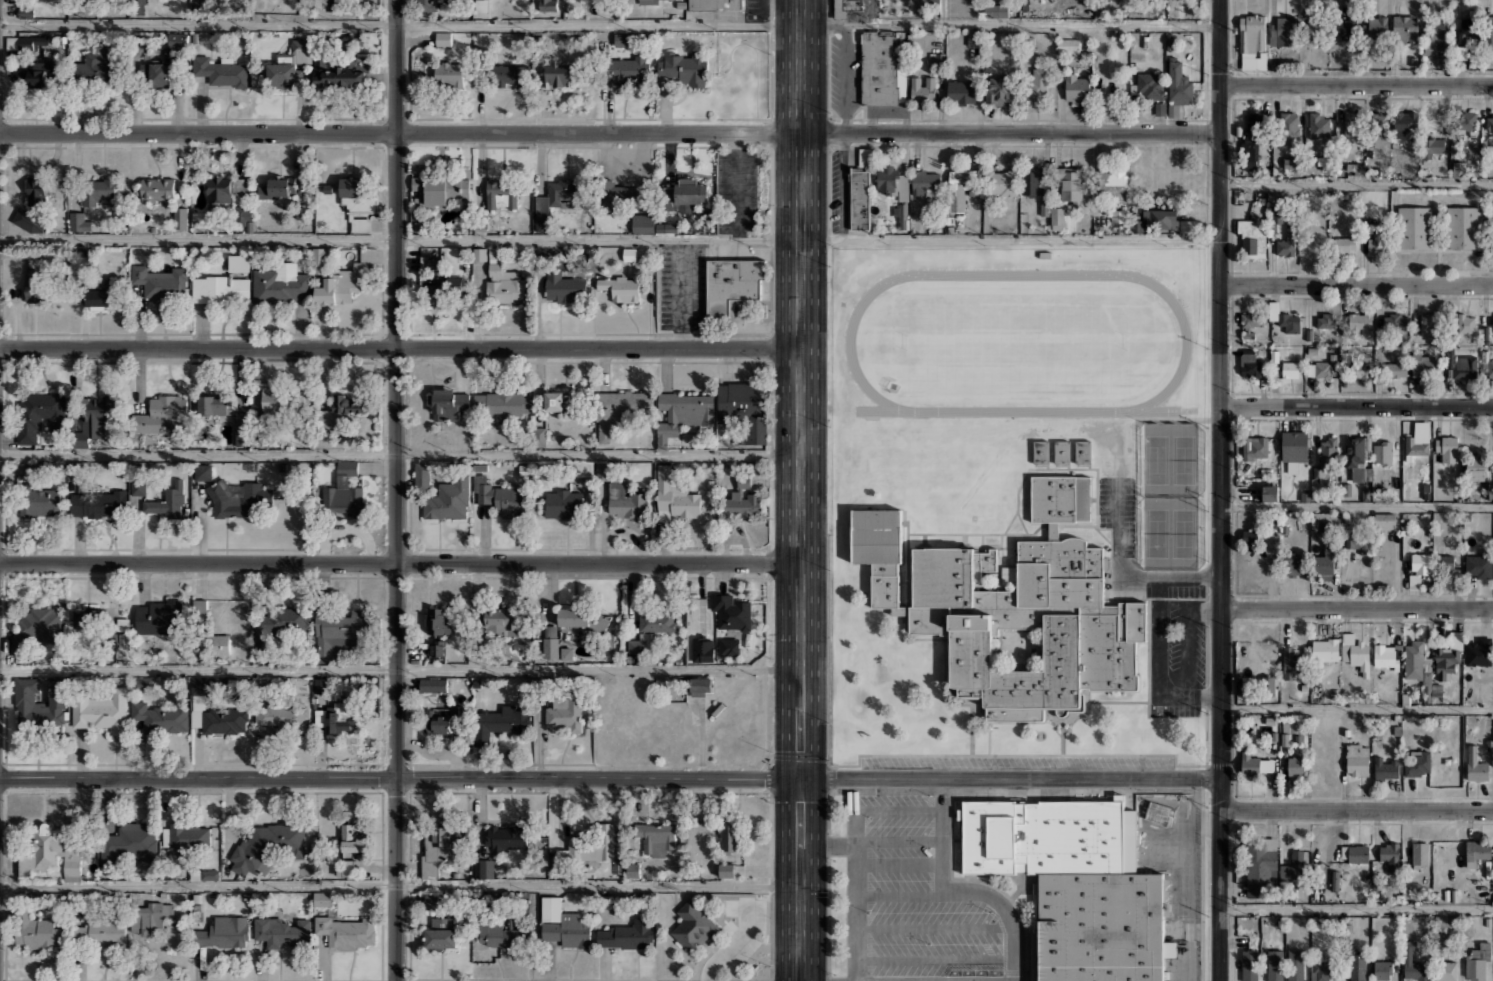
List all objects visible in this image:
building: (425, 4)
building: (481, 5)
building: (548, 5)
building: (716, 5)
building: (929, 6)
building: (844, 7)
building: (995, 10)
road: (1010, 25)
building: (1470, 26)
road: (400, 27)
building: (1314, 27)
building: (1346, 27)
building: (1375, 27)
building: (1405, 29)
building: (1283, 31)
building: (1488, 32)
building: (174, 38)
building: (442, 38)
building: (1438, 38)
building: (621, 39)
building: (24, 42)
building: (1252, 42)
building: (1068, 45)
building: (1461, 52)
building: (1443, 60)
building: (288, 64)
building: (95, 66)
building: (626, 67)
building: (684, 67)
building: (880, 67)
building: (343, 70)
building: (219, 71)
building: (32, 72)
building: (162, 72)
building: (448, 73)
building: (556, 73)
building: (508, 74)
road: (1356, 82)
building: (1039, 84)
building: (1179, 85)
building: (1150, 86)
building: (922, 88)
building: (1077, 89)
building: (961, 92)
building: (1000, 93)
building: (1465, 121)
building: (1352, 123)
building: (1404, 123)
building: (1489, 123)
building: (1290, 124)
building: (1318, 125)
building: (1379, 125)
road: (610, 131)
building: (1253, 141)
building: (1430, 147)
building: (865, 157)
building: (1290, 162)
building: (1323, 162)
building: (1355, 169)
building: (1459, 169)
building: (889, 181)
building: (925, 181)
building: (1032, 181)
road: (1357, 181)
building: (1001, 183)
building: (1070, 184)
building: (1112, 184)
building: (225, 187)
building: (278, 187)
building: (962, 188)
building: (156, 189)
building: (442, 189)
building: (36, 191)
building: (99, 192)
building: (501, 193)
building: (559, 195)
building: (626, 195)
building: (684, 195)
building: (356, 196)
building: (859, 198)
building: (1276, 214)
building: (241, 215)
building: (1119, 216)
building: (180, 217)
building: (1057, 219)
building: (27, 220)
building: (79, 220)
building: (1162, 221)
building: (361, 223)
building: (643, 223)
building: (1415, 227)
building: (1463, 227)
building: (671, 228)
building: (1252, 238)
road: (610, 240)
building: (1312, 242)
building: (1491, 242)
building: (1286, 243)
building: (1377, 243)
building: (1343, 245)
building: (318, 255)
building: (430, 262)
road: (1018, 274)
track: (1018, 274)
building: (344, 280)
building: (502, 280)
building: (160, 281)
building: (224, 283)
building: (282, 283)
road: (1357, 283)
building: (733, 284)
building: (563, 287)
building: (620, 287)
building: (36, 291)
building: (99, 293)
building: (439, 293)
road: (682, 294)
building: (1284, 318)
building: (1325, 320)
building: (1394, 321)
building: (1429, 321)
building: (1492, 321)
building: (1252, 322)
building: (1359, 322)
building: (1466, 323)
road: (400, 349)
building: (1249, 364)
building: (1423, 365)
building: (1463, 366)
building: (1290, 369)
building: (1394, 369)
building: (1490, 369)
building: (1319, 370)
building: (1361, 370)
building: (1346, 371)
road: (800, 388)
building: (555, 400)
building: (274, 402)
building: (448, 402)
building: (502, 402)
building: (347, 403)
building: (213, 405)
road: (1357, 405)
building: (619, 407)
building: (744, 409)
road: (1018, 411)
track: (1018, 411)
building: (682, 412)
building: (160, 413)
building: (39, 414)
building: (93, 419)
building: (241, 428)
building: (540, 434)
building: (1419, 439)
building: (1255, 447)
building: (1447, 448)
building: (1294, 449)
building: (1041, 452)
building: (1062, 452)
building: (1082, 452)
building: (1382, 452)
road: (400, 453)
building: (1325, 458)
building: (1359, 458)
park: (1156, 459)
park: (1184, 459)
building: (584, 468)
building: (602, 469)
building: (28, 470)
building: (1476, 470)
building: (202, 471)
building: (422, 476)
road: (395, 490)
road: (1221, 490)
building: (343, 491)
building: (1270, 493)
building: (499, 496)
building: (674, 497)
building: (159, 498)
building: (237, 499)
building: (448, 499)
building: (41, 501)
building: (742, 501)
building: (563, 502)
building: (625, 502)
building: (98, 503)
road: (1357, 504)
building: (1384, 523)
park: (1156, 533)
park: (1183, 533)
building: (1250, 536)
building: (1358, 542)
building: (1446, 561)
road: (400, 562)
building: (1326, 562)
building: (980, 563)
building: (1291, 564)
building: (1421, 564)
building: (1479, 565)
building: (1012, 607)
road: (1357, 607)
building: (199, 610)
building: (732, 612)
building: (159, 617)
building: (88, 618)
building: (583, 618)
building: (502, 620)
building: (657, 620)
building: (436, 621)
building: (279, 627)
building: (35, 629)
building: (338, 634)
building: (641, 643)
building: (210, 644)
building: (729, 646)
building: (550, 647)
building: (436, 648)
building: (702, 648)
building: (1326, 650)
building: (1479, 652)
building: (566, 653)
building: (1355, 653)
building: (1385, 656)
building: (1449, 657)
building: (1414, 660)
building: (1291, 663)
road: (436, 668)
building: (1492, 680)
building: (432, 684)
building: (700, 684)
building: (1246, 685)
building: (40, 706)
road: (1357, 707)
building: (100, 709)
building: (565, 712)
building: (283, 714)
building: (161, 716)
building: (339, 716)
building: (442, 719)
building: (224, 721)
building: (501, 721)
building: (1357, 760)
building: (1249, 763)
building: (1417, 763)
building: (1295, 766)
building: (1476, 766)
building: (1385, 769)
road: (1010, 777)
road: (399, 778)
traffic signals: (799, 778)
road: (1357, 808)
building: (1163, 826)
building: (730, 836)
road: (939, 836)
building: (1047, 836)
building: (507, 837)
building: (656, 837)
building: (187, 838)
building: (352, 840)
building: (129, 842)
building: (441, 845)
building: (587, 845)
building: (267, 847)
building: (39, 850)
building: (1477, 852)
building: (1355, 853)
building: (1420, 854)
building: (1390, 856)
building: (73, 863)
building: (1296, 865)
building: (483, 867)
building: (348, 868)
building: (1262, 868)
building: (632, 869)
building: (726, 869)
building: (205, 874)
road: (798, 879)
building: (1335, 882)
road: (398, 885)
building: (322, 897)
building: (434, 899)
parking lot: (919, 900)
road: (1356, 907)
road: (855, 912)
building: (149, 917)
building: (693, 924)
building: (1100, 926)
building: (37, 930)
building: (567, 930)
building: (280, 931)
building: (100, 932)
building: (224, 932)
building: (496, 932)
building: (346, 933)
building: (442, 934)
building: (626, 934)
parking lot: (736, 934)
road: (733, 944)
building: (1478, 962)
building: (1414, 964)
building: (1250, 965)
building: (1275, 965)
building: (1295, 965)
building: (1357, 967)
building: (1382, 970)
building: (1446, 971)
building: (1321, 972)

